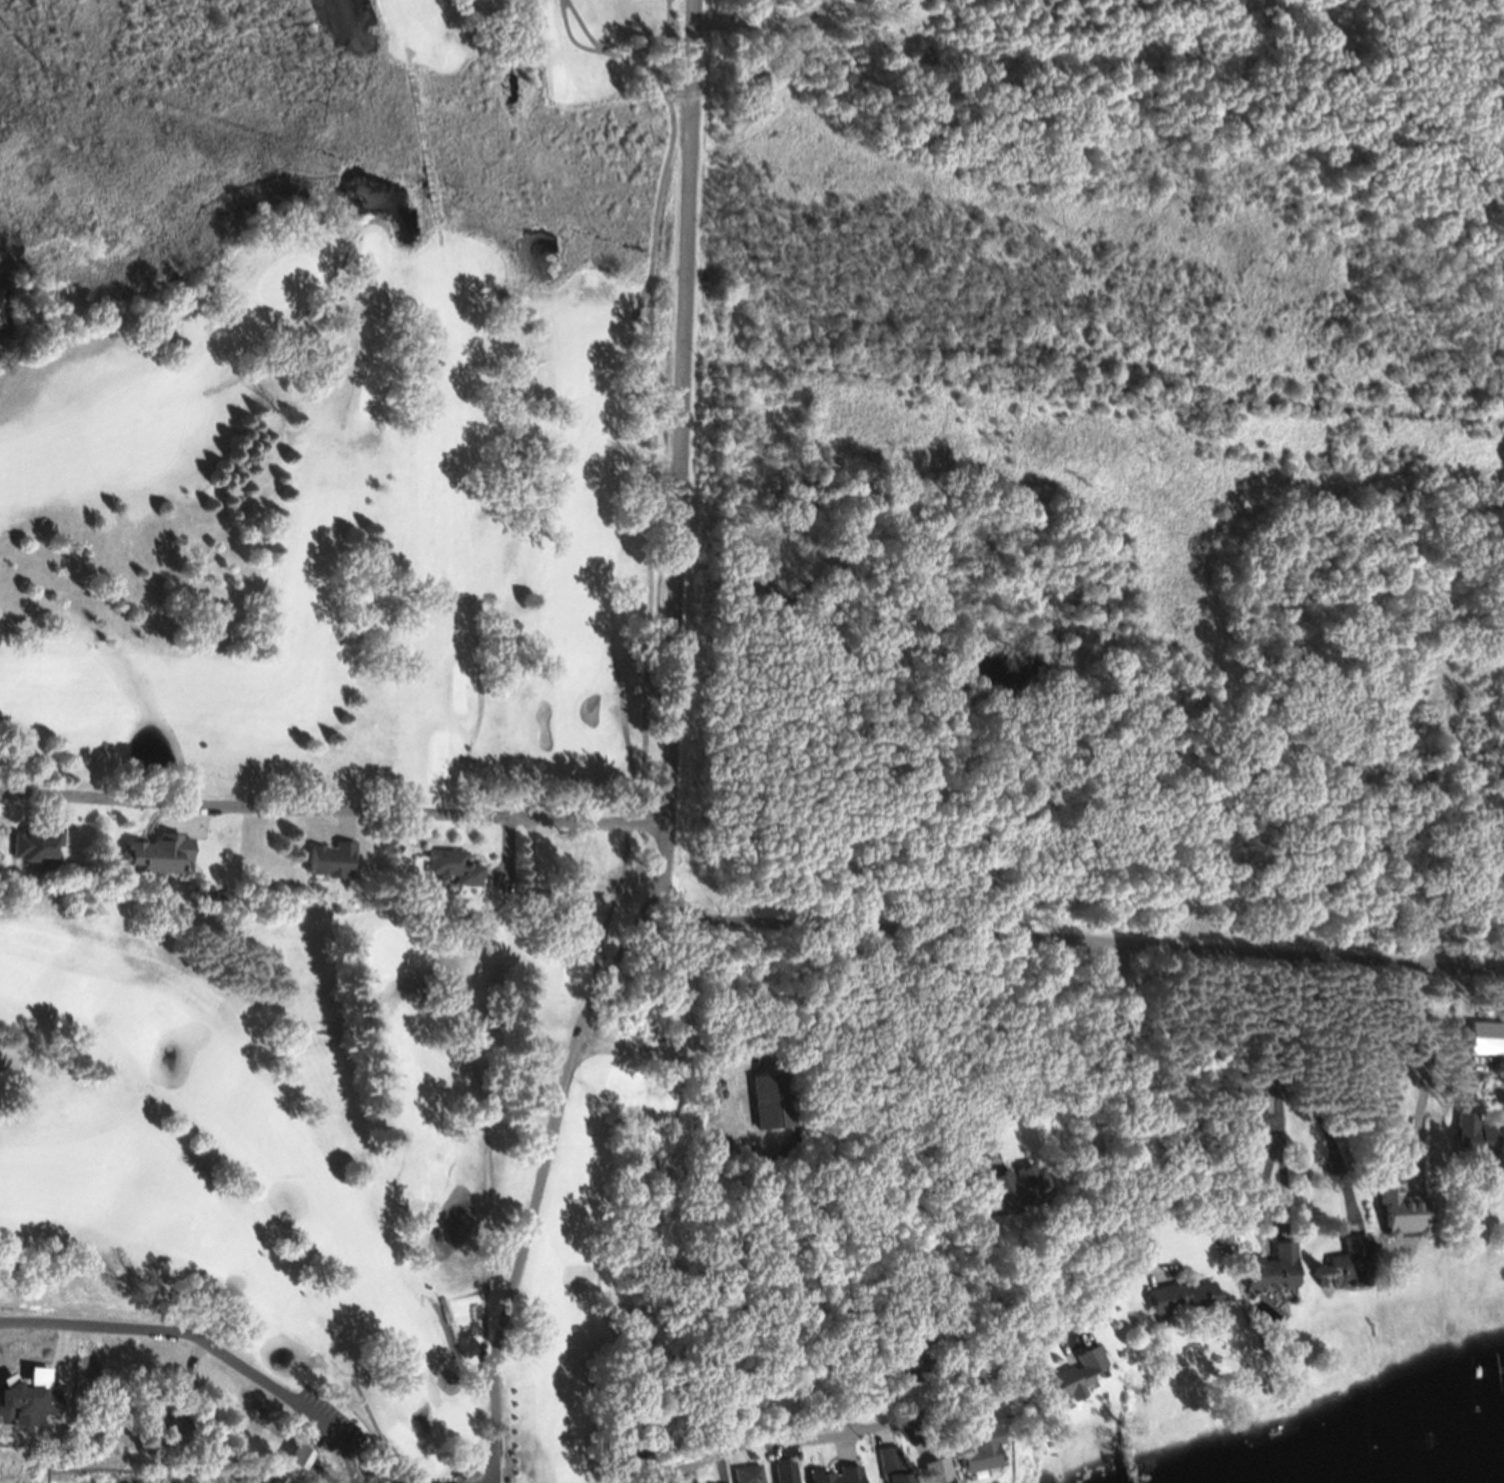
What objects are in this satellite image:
road: (880, 13)
road: (768, 18)
road: (683, 412)
road: (333, 811)
building: (38, 850)
building: (157, 862)
building: (328, 867)
road: (662, 869)
building: (451, 873)
road: (1076, 944)
road: (1465, 1040)
building: (1485, 1046)
road: (1431, 1074)
road: (1047, 1102)
building: (772, 1107)
building: (1253, 1109)
building: (1472, 1146)
road: (548, 1147)
park: (310, 1185)
building: (1014, 1189)
building: (1399, 1226)
road: (934, 1231)
building: (1348, 1271)
building: (1270, 1277)
building: (1180, 1305)
road: (1061, 1336)
road: (203, 1353)
building: (1074, 1383)
road: (692, 1394)
road: (496, 1441)
building: (973, 1457)
building: (294, 1465)
building: (742, 1473)
building: (784, 1476)
building: (833, 1479)
building: (711, 1480)
building: (895, 1481)

